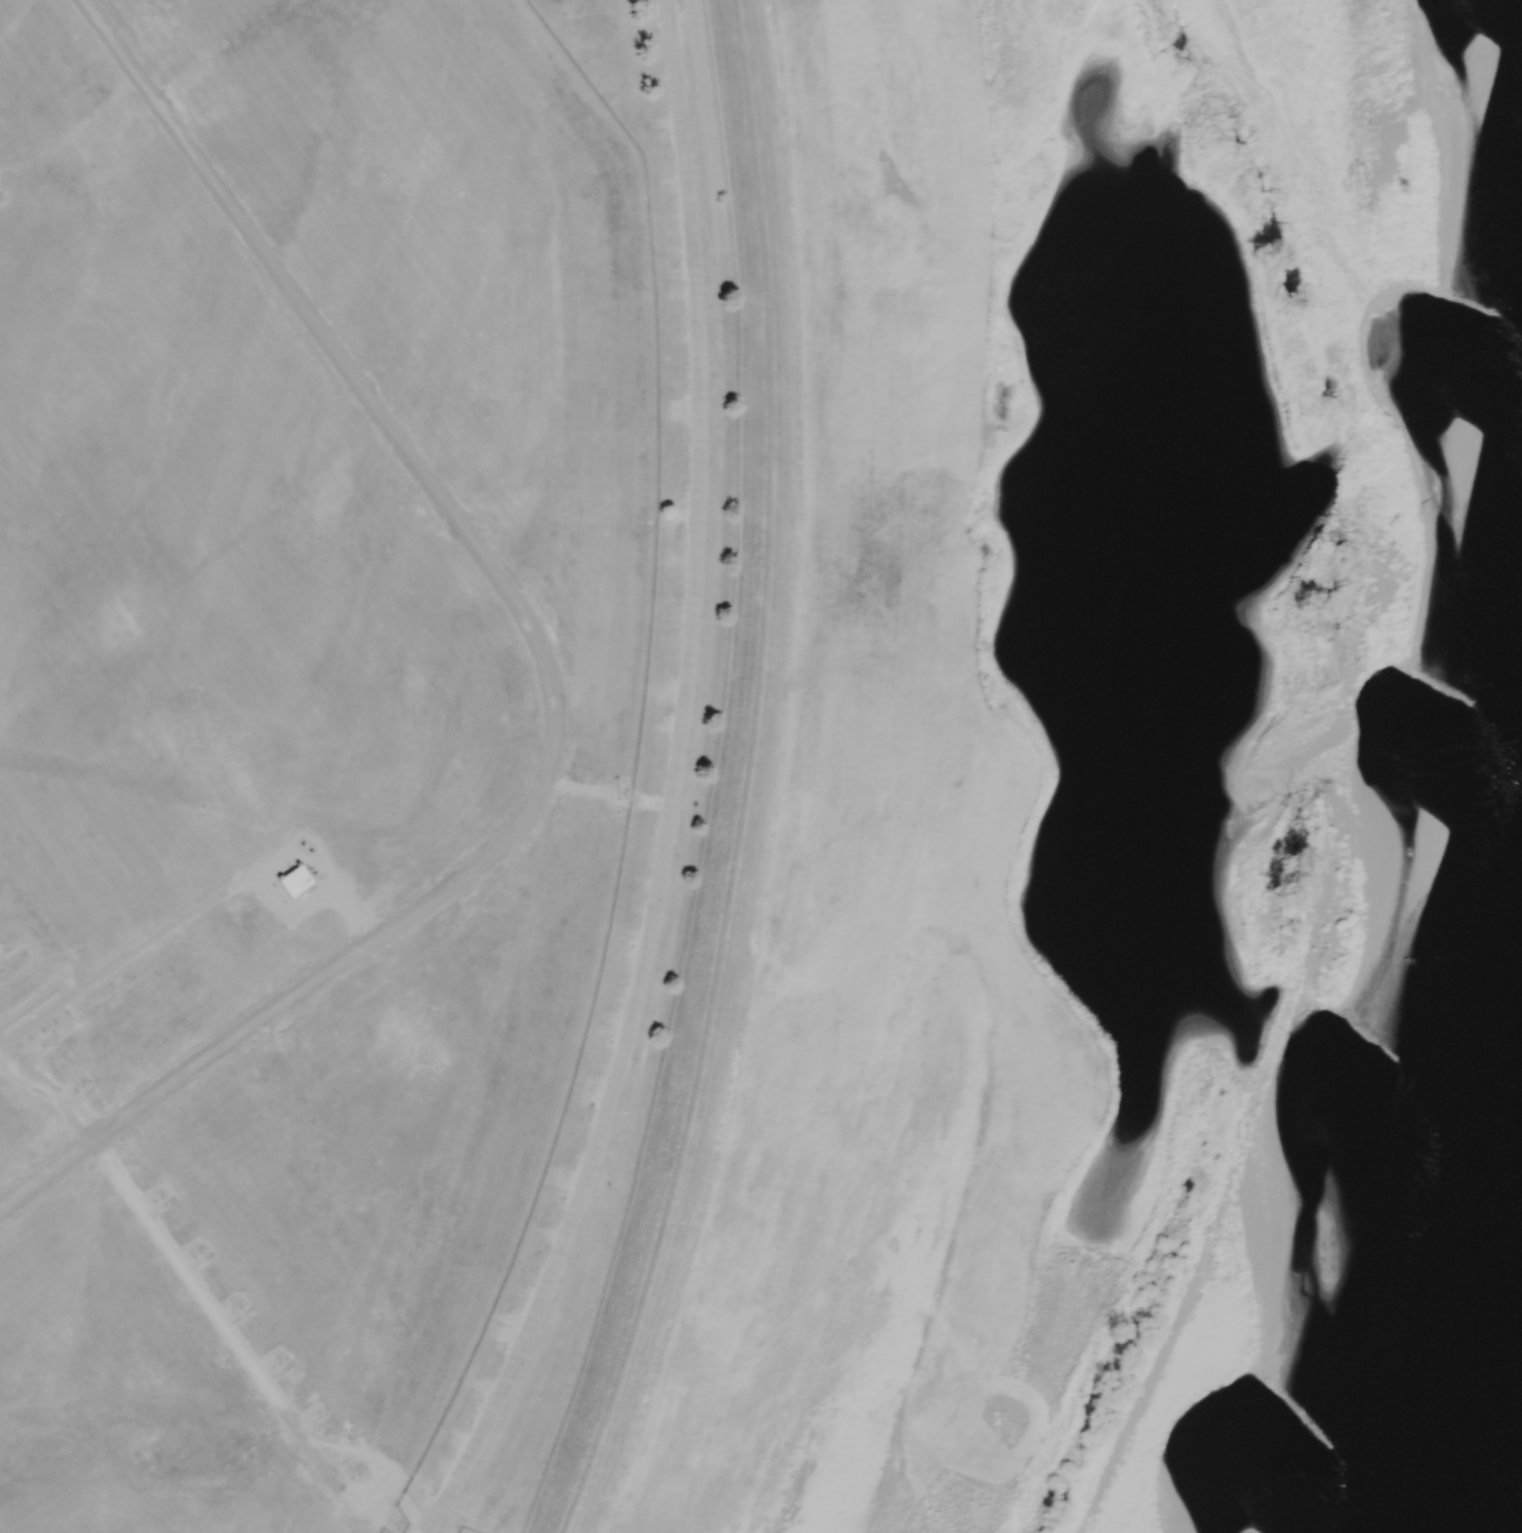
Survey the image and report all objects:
road: (546, 667)
airport: (343, 731)
road: (675, 787)
building: (294, 881)
road: (186, 920)
road: (214, 1312)
river: (1483, 1413)

